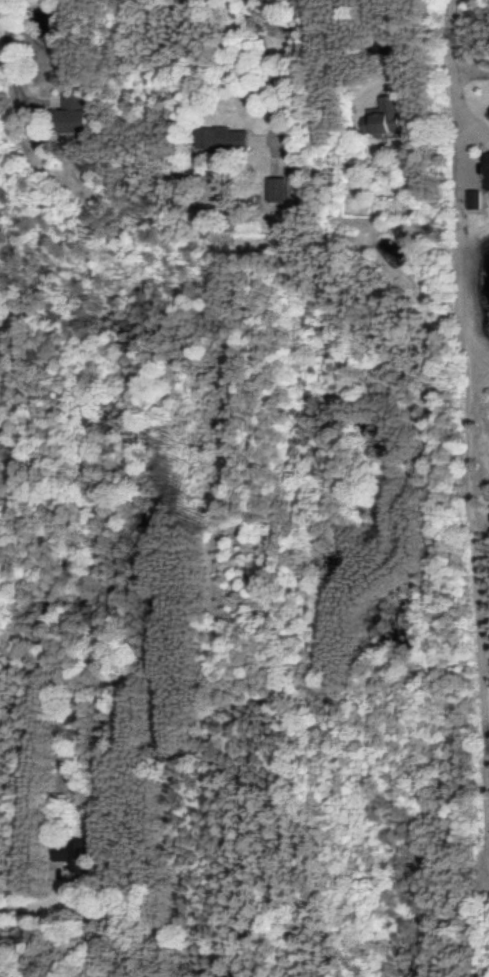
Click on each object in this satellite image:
road: (3, 57)
road: (261, 64)
road: (451, 74)
building: (68, 114)
building: (382, 115)
building: (219, 138)
building: (485, 168)
building: (273, 189)
building: (470, 199)
building: (71, 854)
road: (22, 896)

